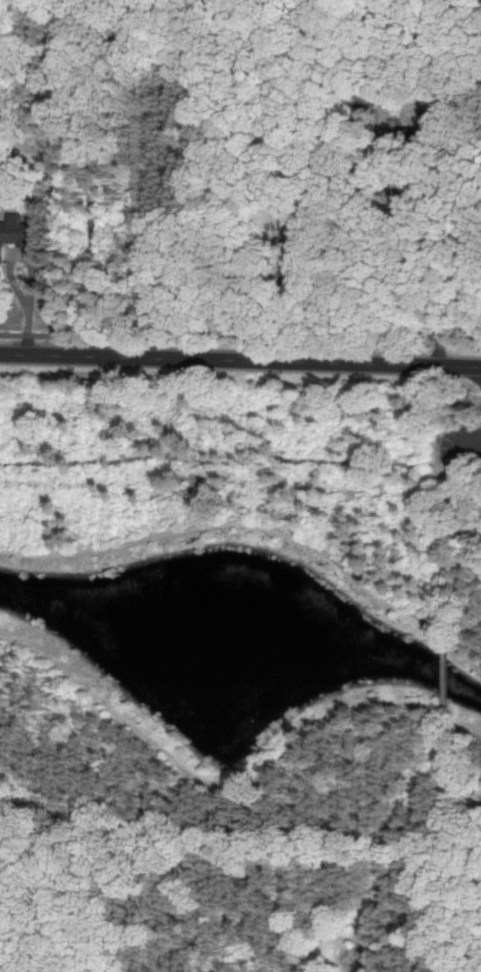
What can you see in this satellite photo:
road: (91, 178)
road: (156, 178)
building: (16, 232)
road: (32, 270)
road: (444, 270)
road: (241, 340)
road: (240, 360)
parking lot: (461, 451)
road: (240, 476)
road: (479, 483)
road: (234, 524)
road: (446, 556)
road: (461, 646)
park: (239, 664)
road: (442, 689)
road: (462, 748)
road: (417, 779)
road: (218, 800)
road: (450, 857)
road: (200, 866)
road: (369, 891)
road: (244, 948)
road: (399, 951)
road: (322, 960)

